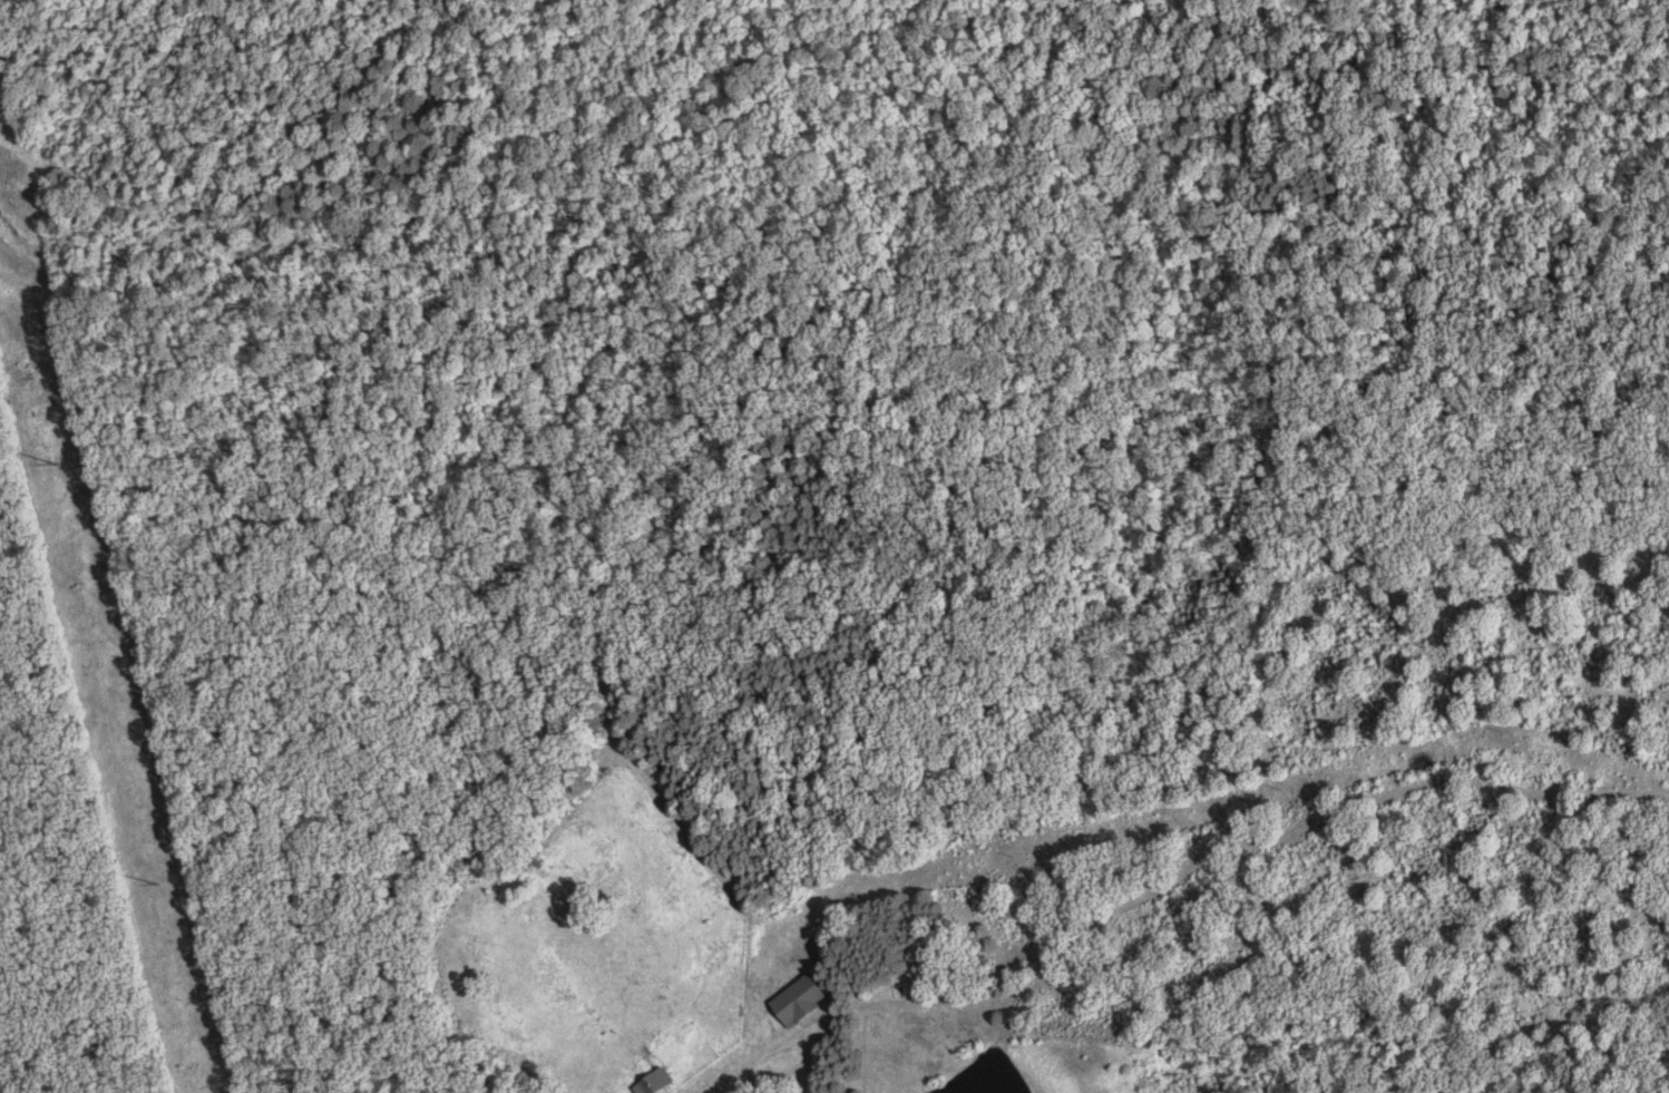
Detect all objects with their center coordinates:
building: (910, 986)
building: (800, 1002)
building: (655, 1083)

